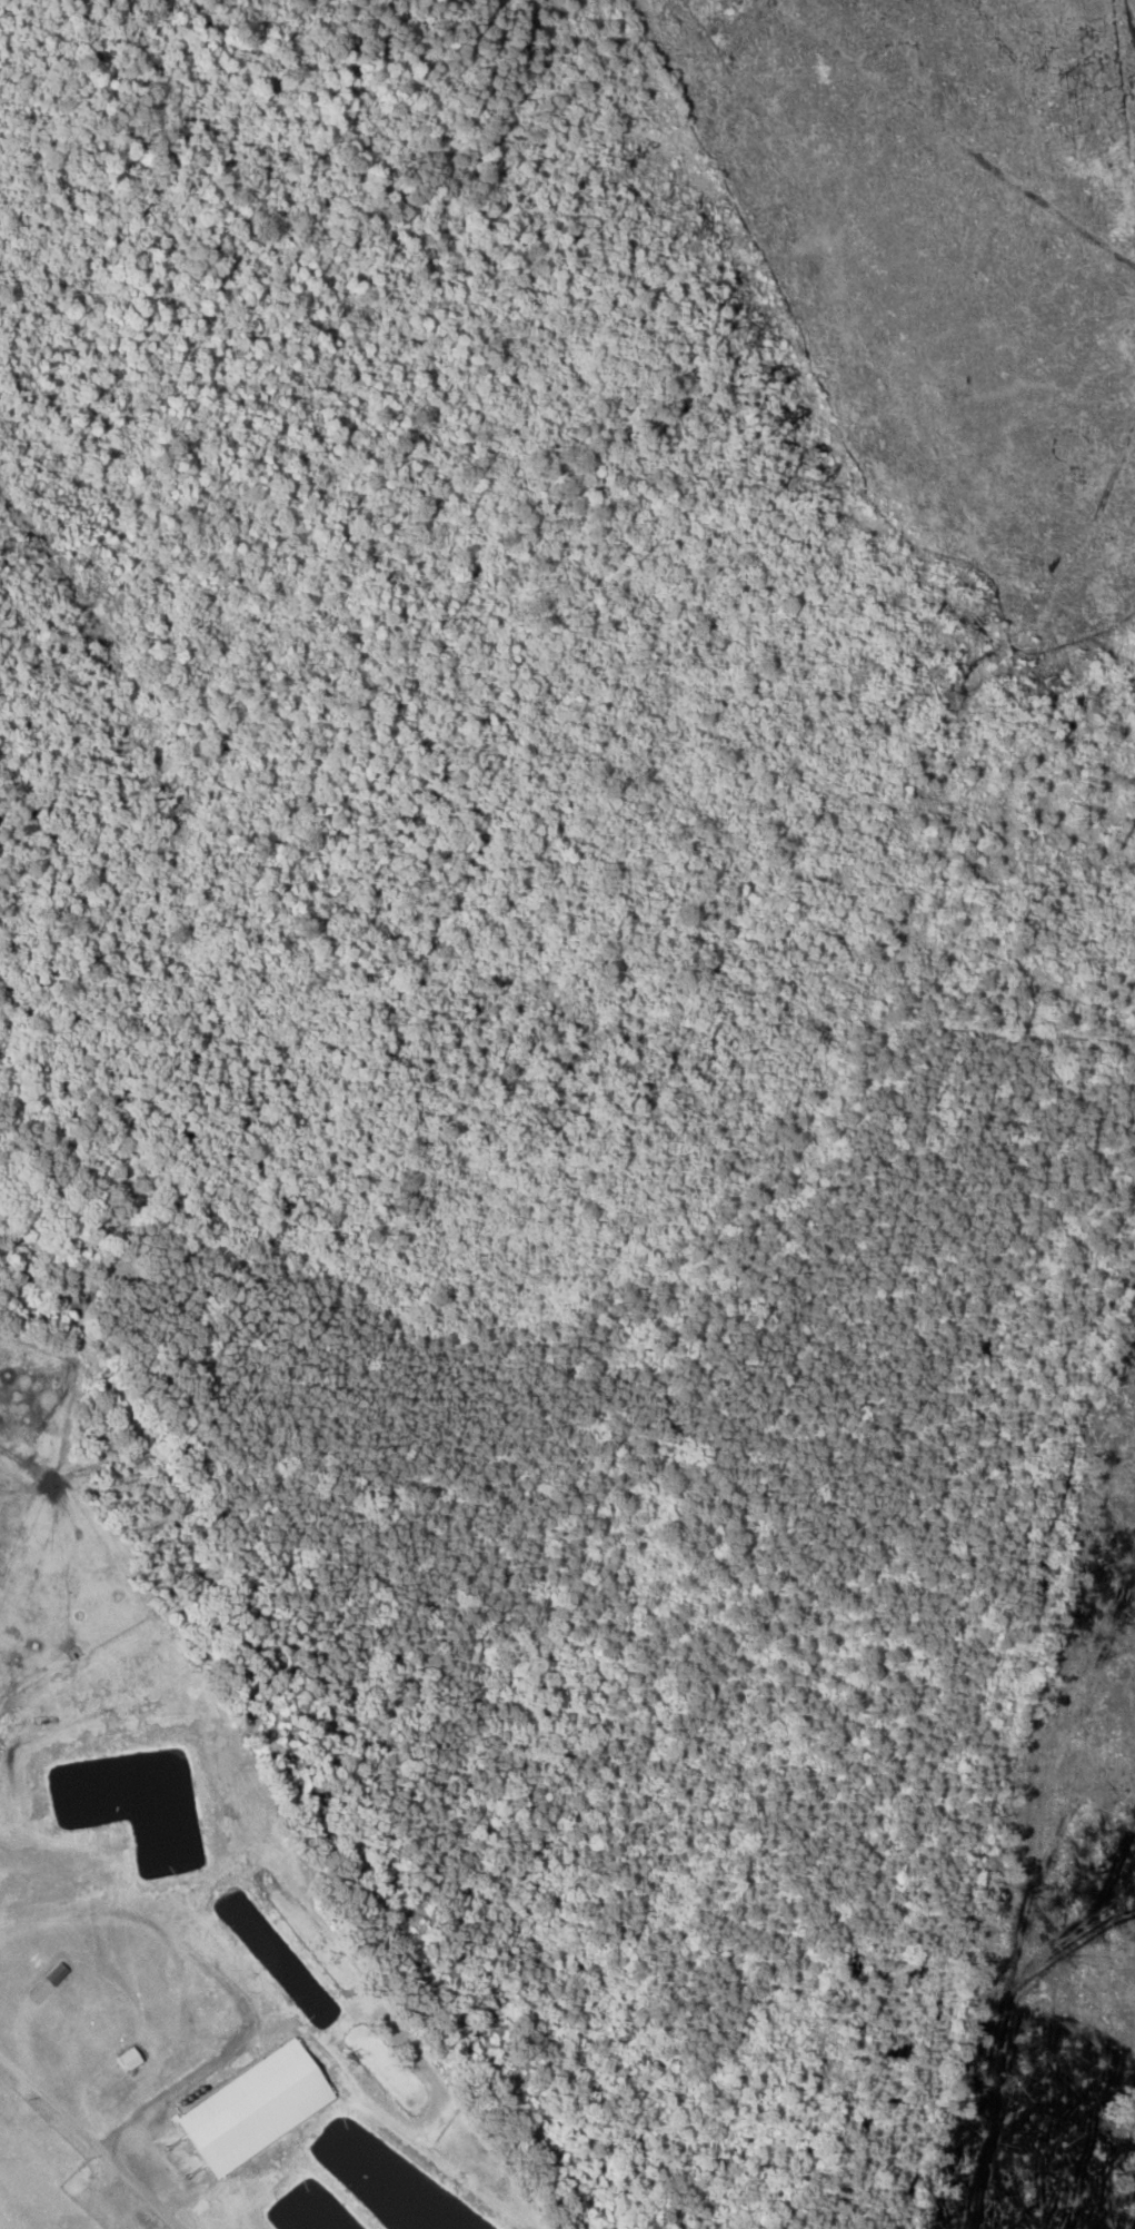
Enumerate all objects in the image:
building: (57, 1975)
building: (231, 1979)
building: (126, 2068)
building: (263, 2088)
road: (89, 2147)
building: (227, 2157)

